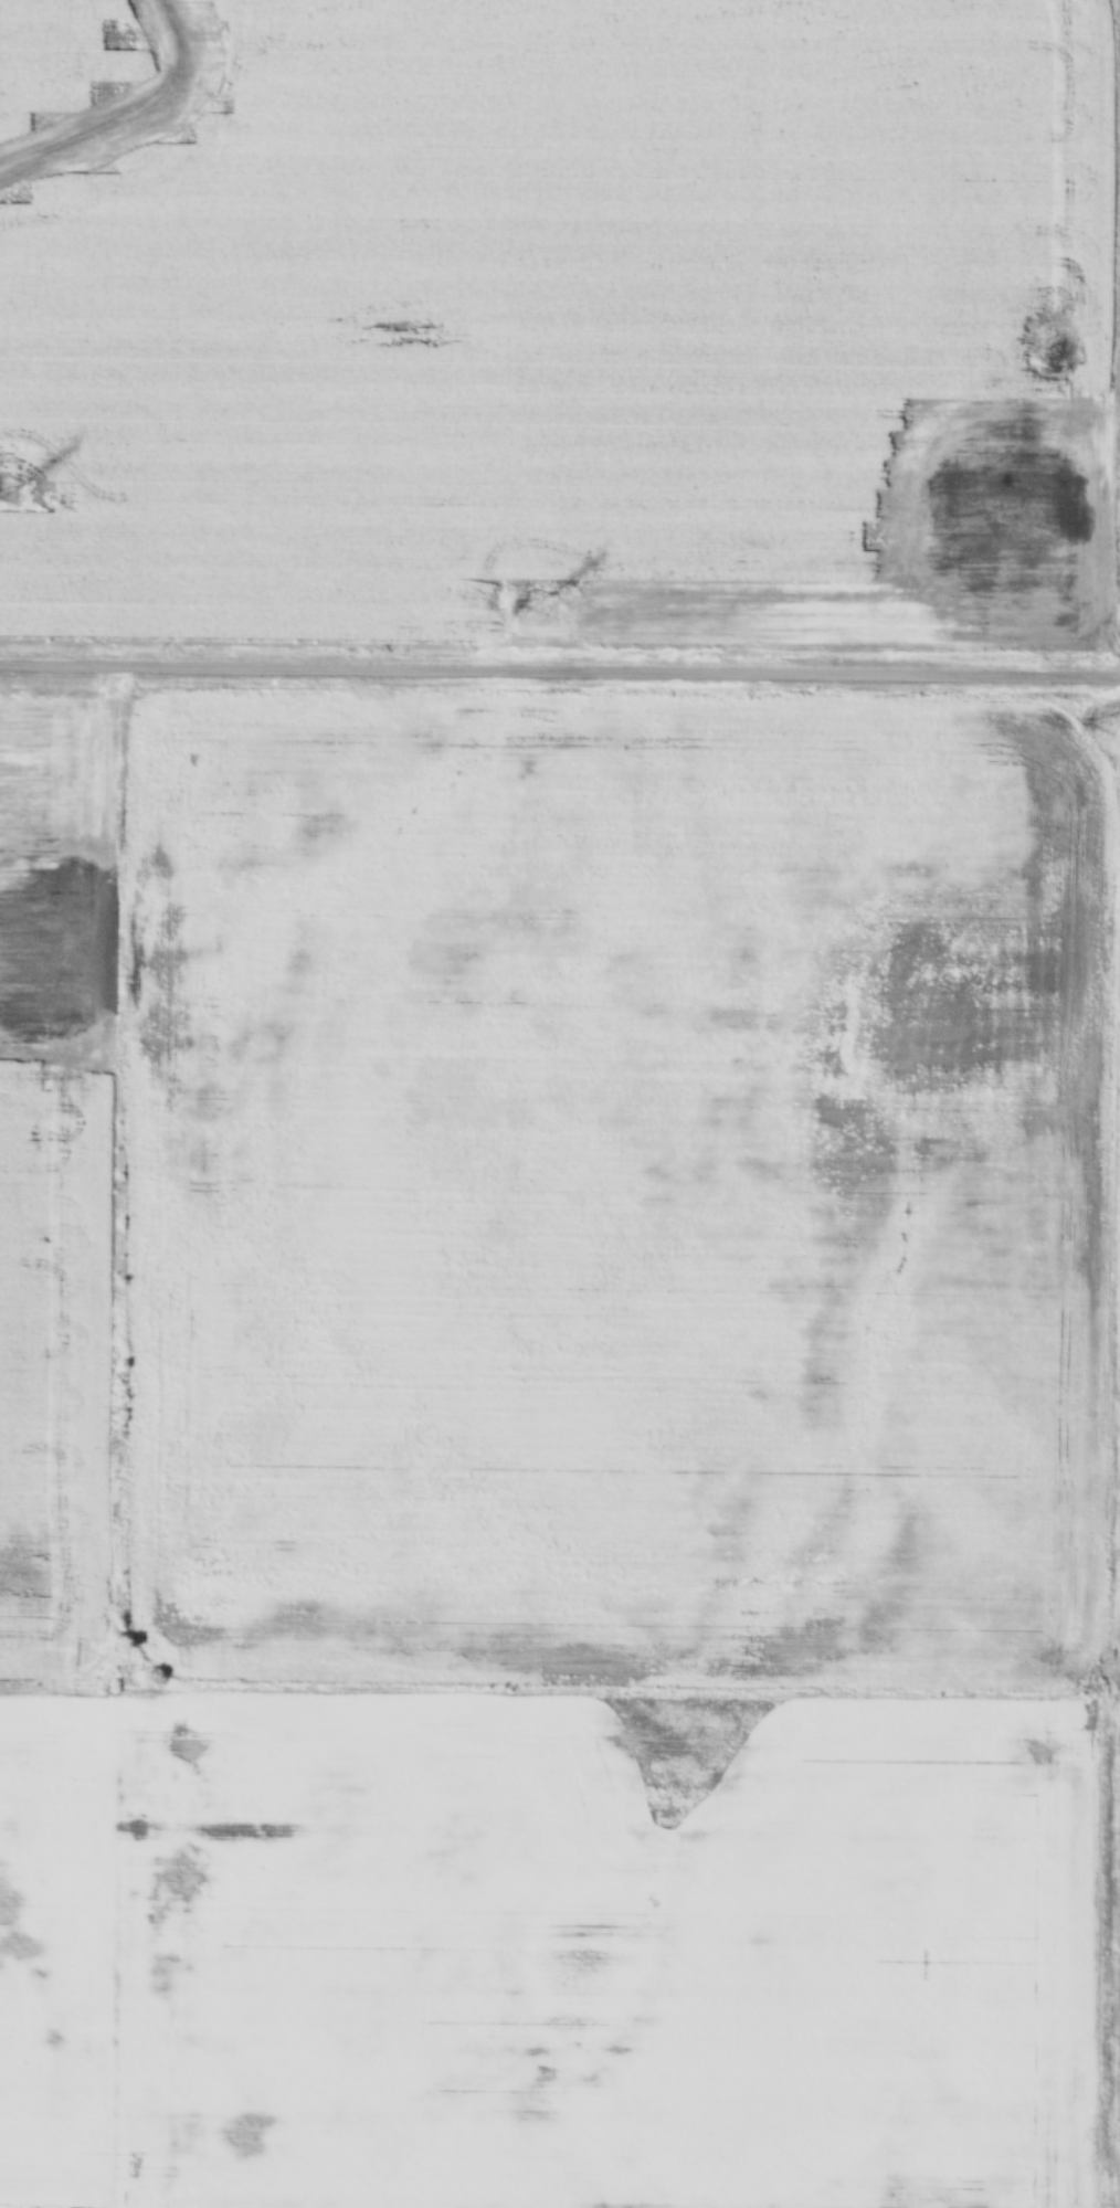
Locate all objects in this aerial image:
power tower: (10, 492)
power tower: (537, 603)
road: (559, 679)
power tower: (1106, 723)

